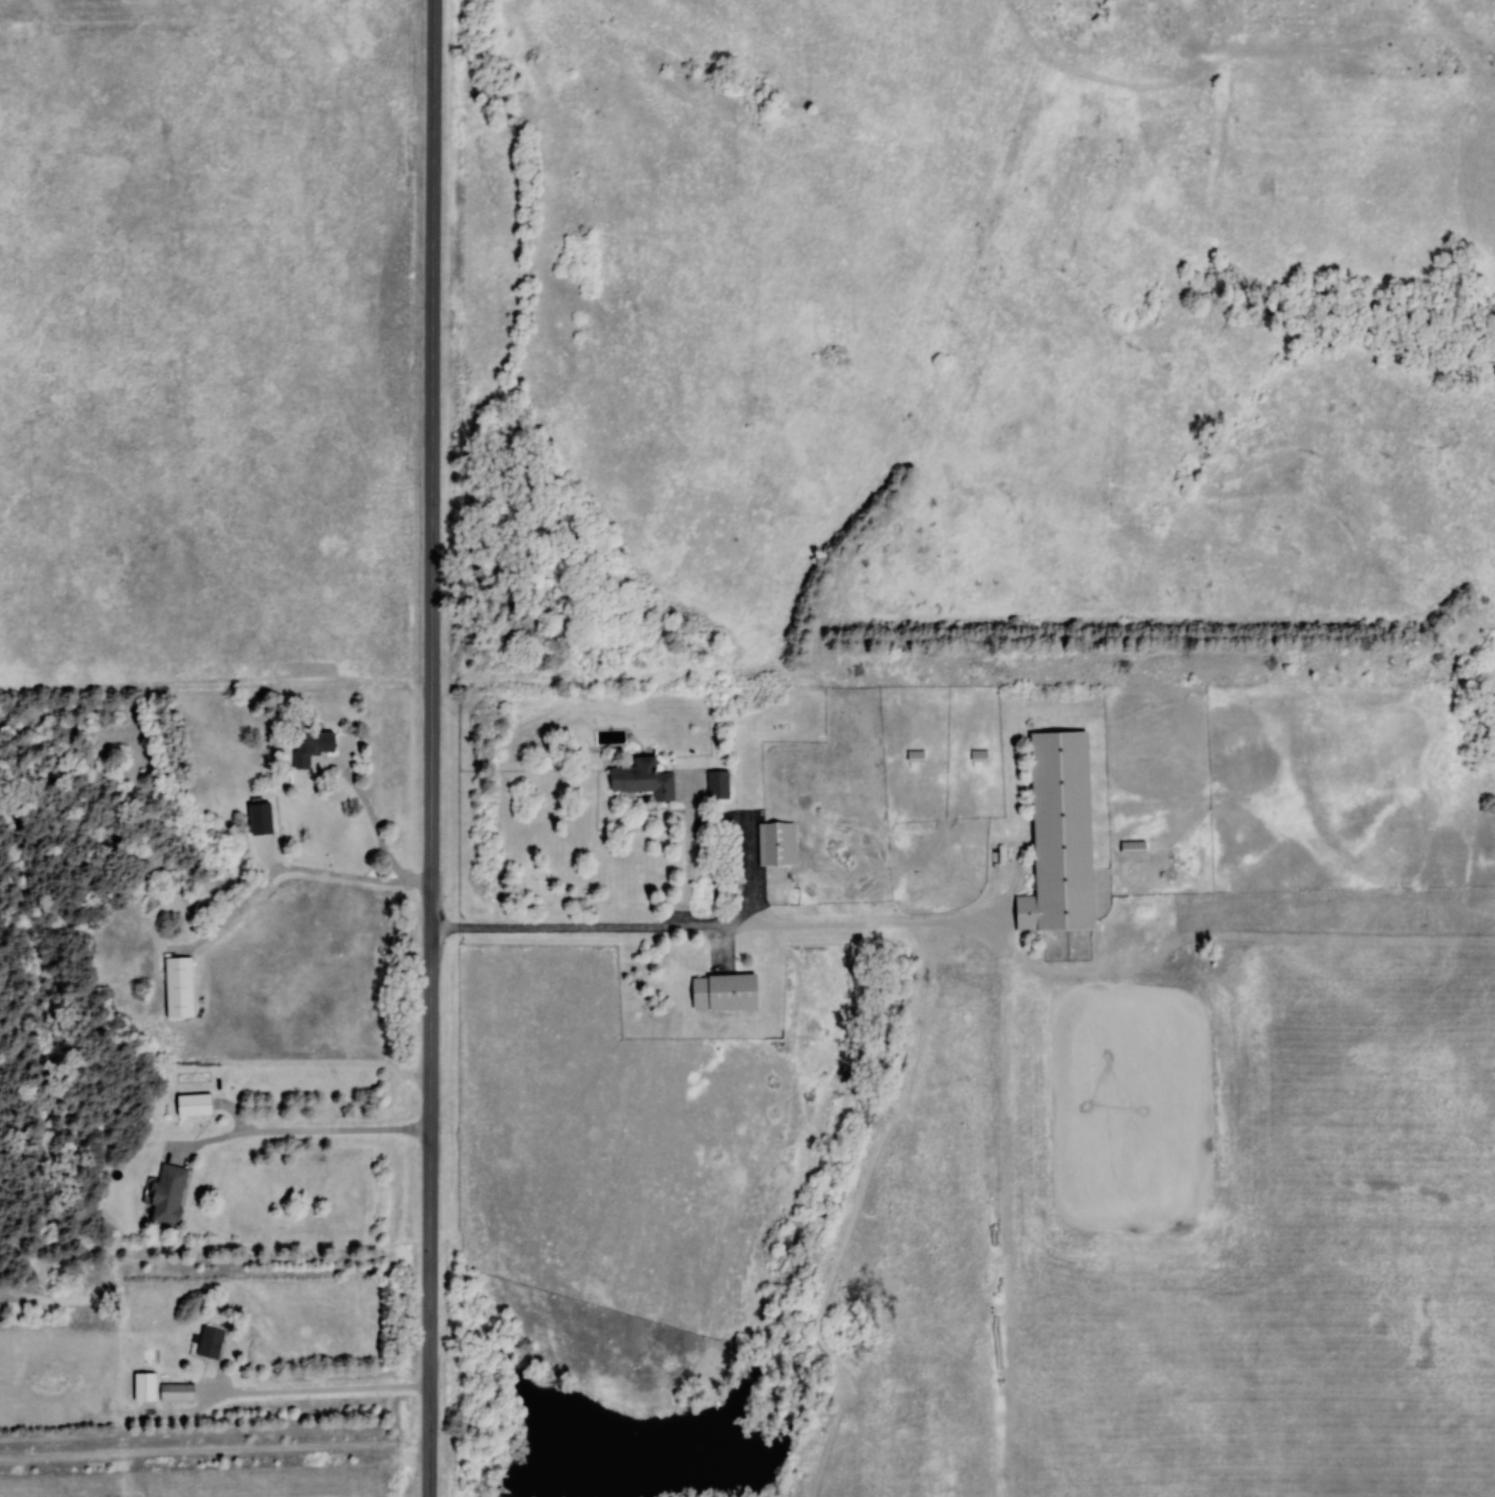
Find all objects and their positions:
building: (308, 748)
road: (432, 748)
building: (976, 756)
building: (912, 757)
building: (639, 780)
building: (715, 786)
road: (371, 815)
road: (724, 818)
building: (1054, 834)
building: (773, 845)
building: (1129, 846)
road: (290, 870)
road: (717, 926)
building: (176, 989)
building: (719, 994)
building: (188, 1104)
road: (298, 1132)
building: (162, 1194)
building: (205, 1343)
building: (139, 1387)
road: (316, 1391)
building: (173, 1392)

